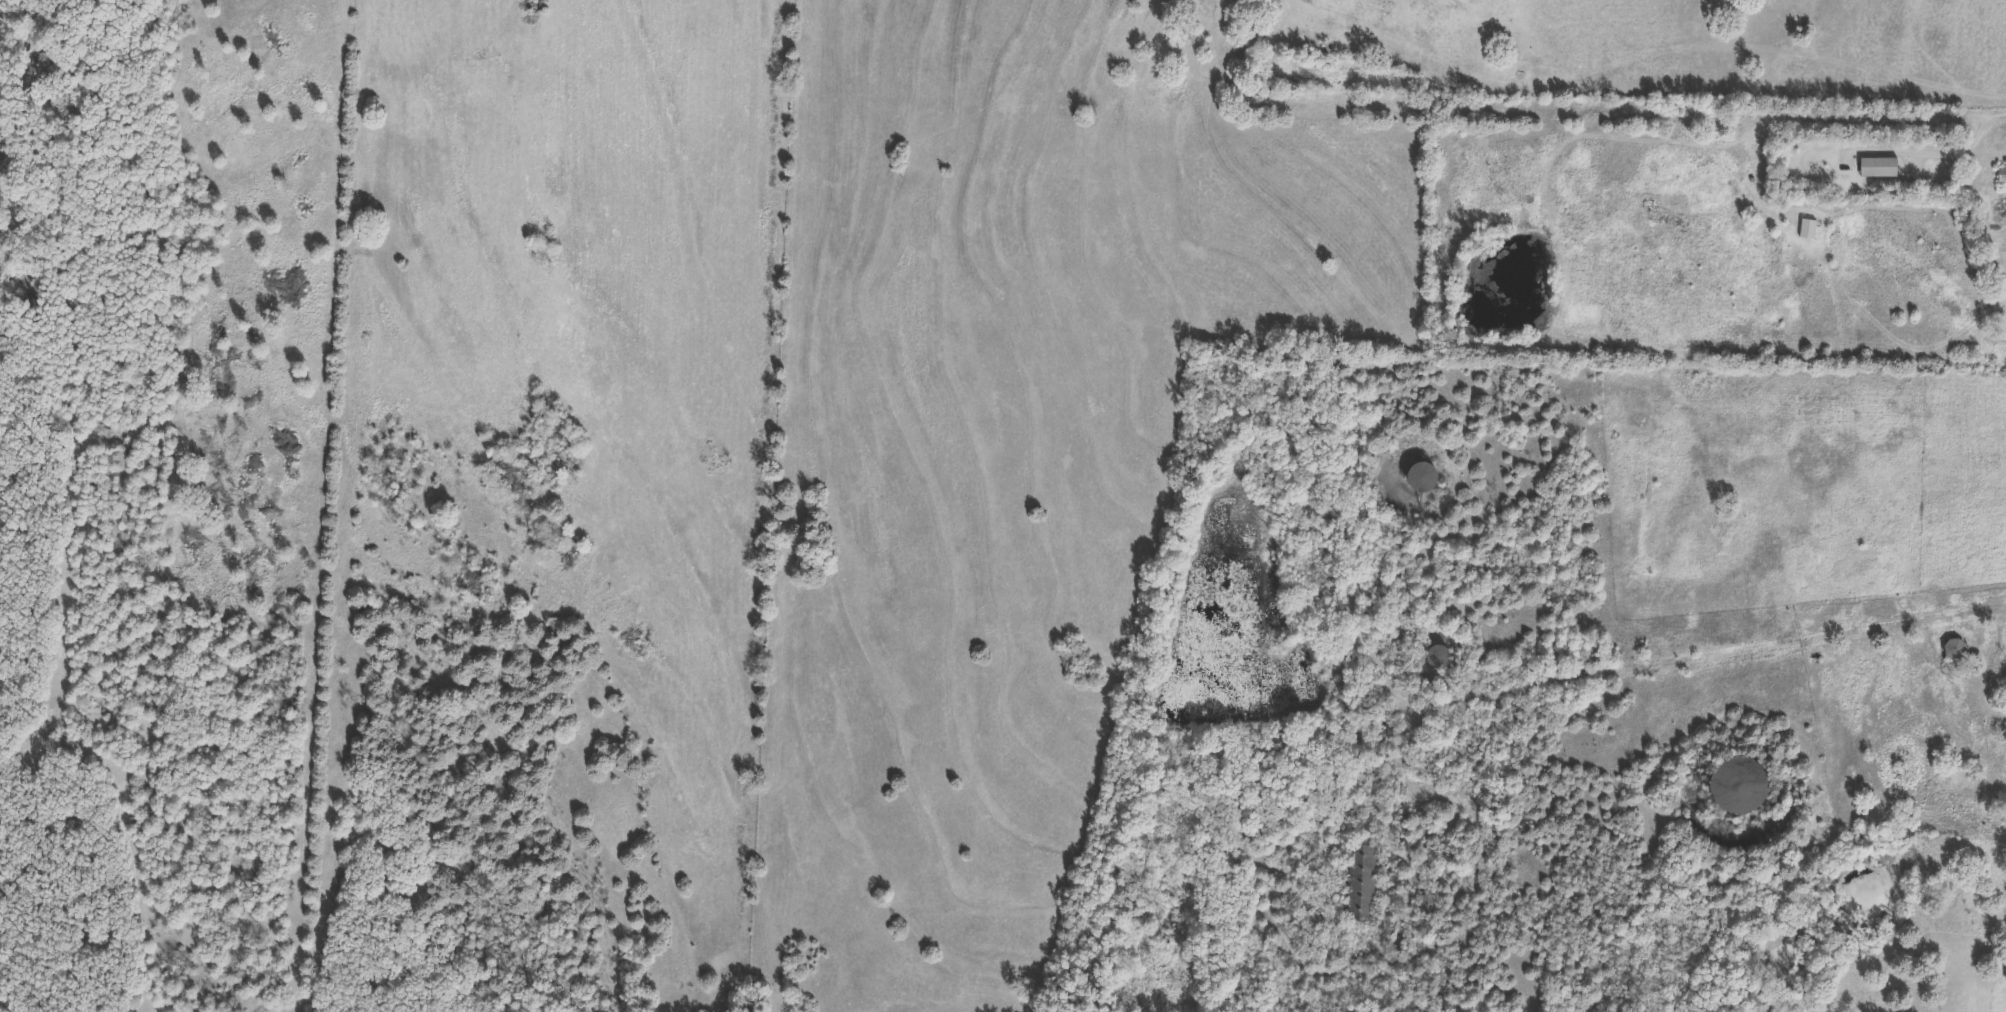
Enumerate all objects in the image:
road: (1967, 146)
building: (1880, 168)
building: (2002, 176)
building: (1811, 231)
building: (1957, 650)
building: (1437, 657)
building: (1741, 781)
building: (1361, 883)

